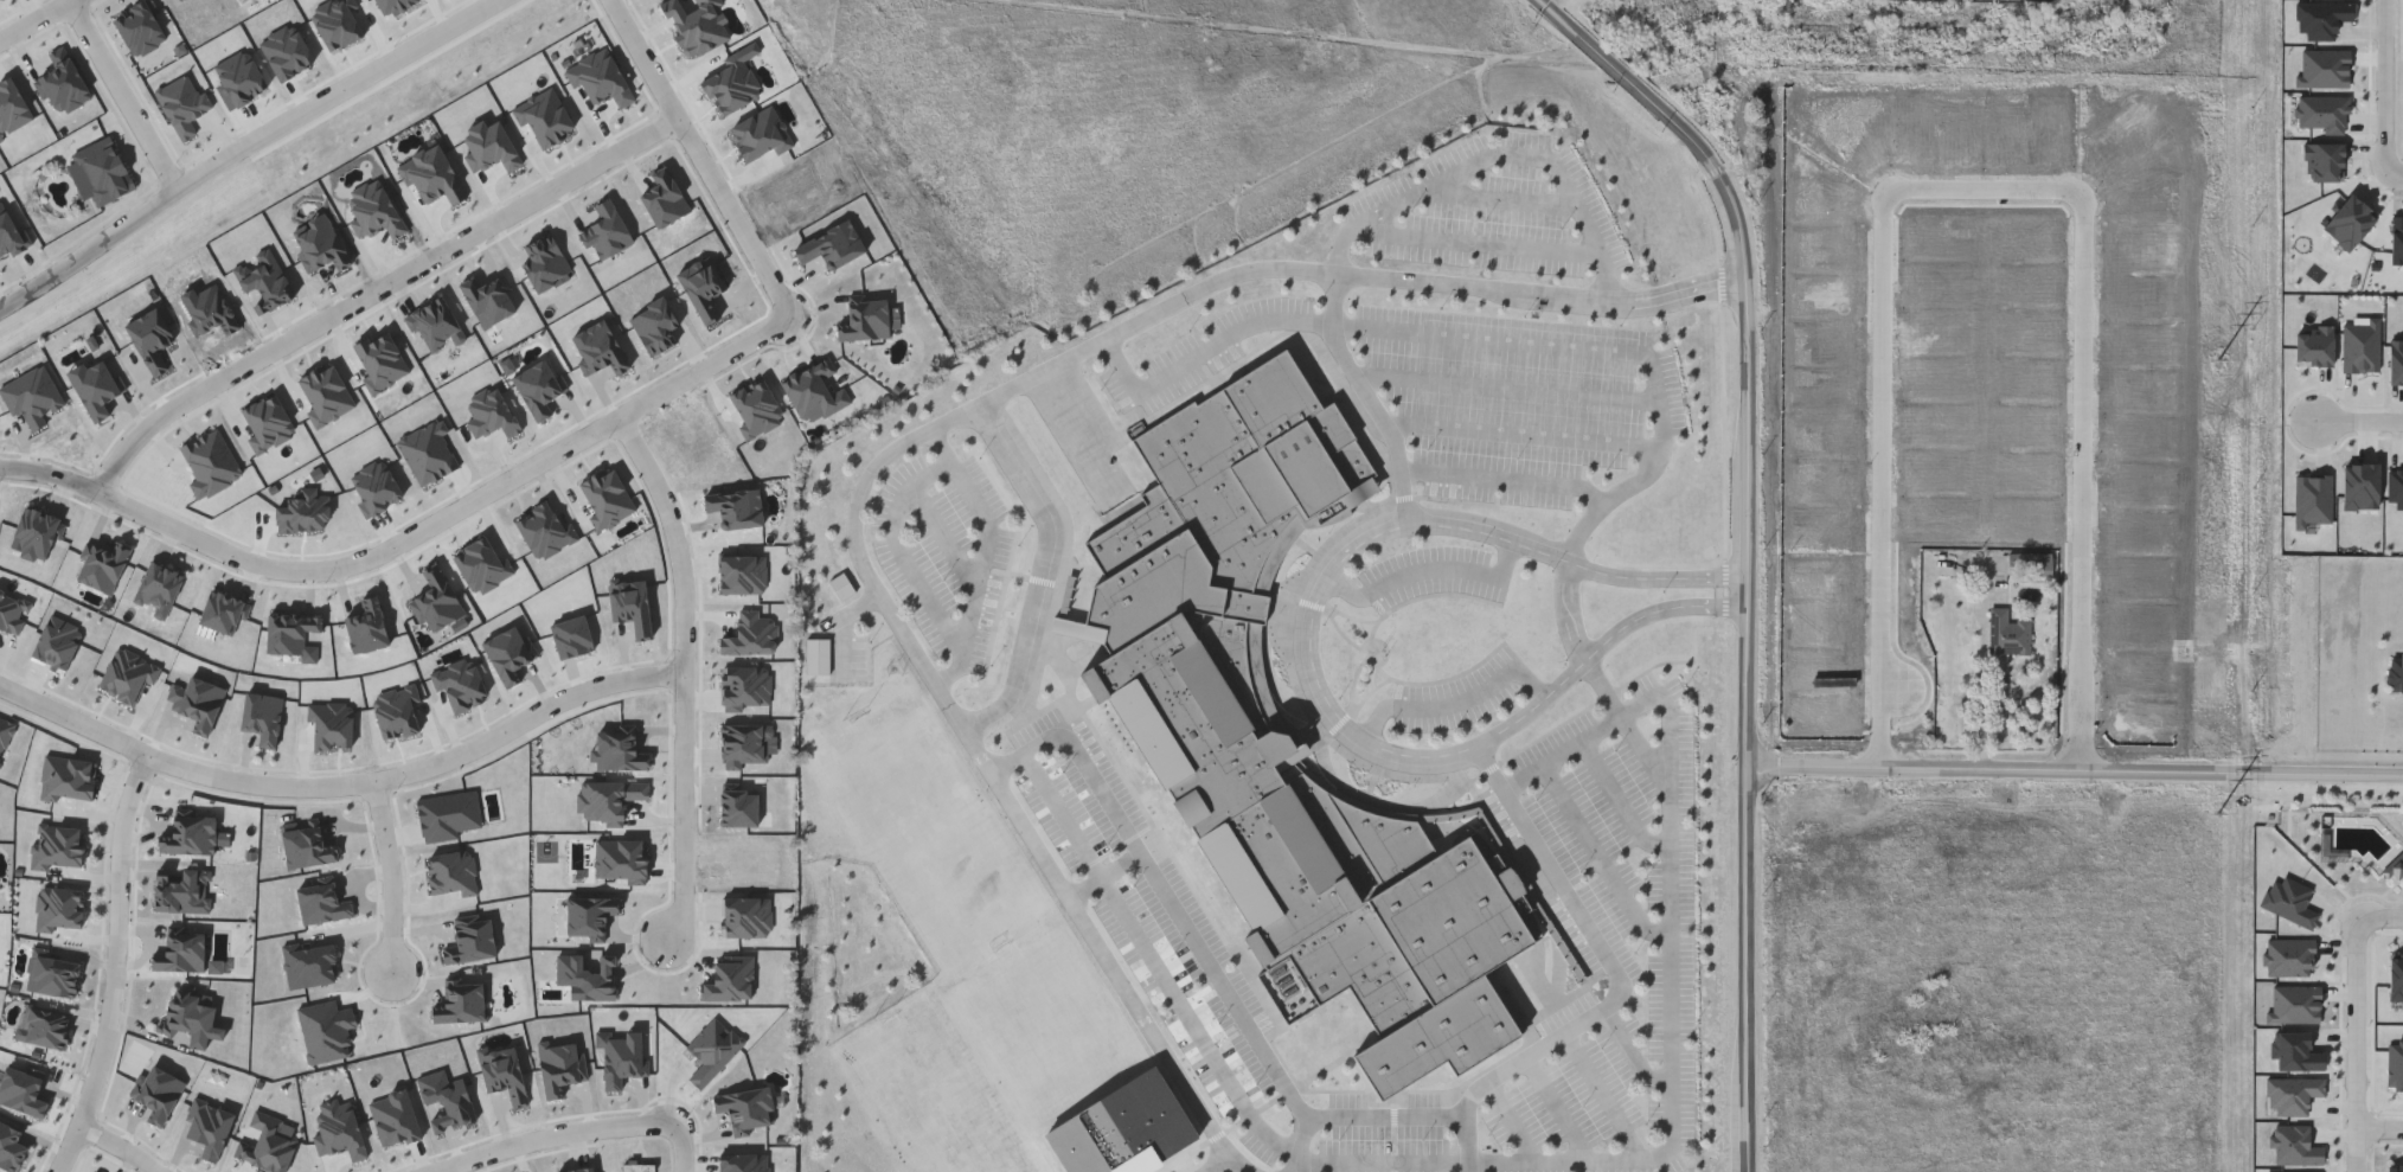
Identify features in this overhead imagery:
road: (36, 20)
road: (377, 75)
road: (2377, 89)
road: (126, 94)
road: (1500, 155)
road: (705, 156)
road: (2399, 171)
building: (2113, 173)
building: (102, 174)
road: (1975, 187)
building: (2177, 191)
road: (1499, 198)
road: (123, 229)
road: (1481, 246)
building: (2144, 264)
road: (377, 288)
road: (1775, 318)
road: (1207, 350)
road: (1751, 353)
power tower: (2218, 358)
road: (1654, 372)
road: (1507, 388)
road: (1371, 397)
road: (2359, 414)
road: (1527, 438)
road: (917, 441)
road: (1506, 480)
road: (2084, 492)
building: (1691, 493)
building: (1707, 493)
road: (1882, 497)
road: (412, 536)
road: (946, 542)
road: (906, 555)
road: (987, 556)
road: (1425, 572)
road: (1046, 575)
building: (2007, 632)
road: (1313, 661)
building: (2396, 670)
road: (684, 674)
road: (1455, 699)
building: (1192, 712)
road: (1985, 723)
road: (1672, 725)
road: (1563, 755)
road: (342, 787)
road: (2075, 792)
road: (1621, 803)
power tower: (2216, 816)
road: (1602, 862)
road: (1123, 869)
road: (393, 880)
road: (1088, 890)
road: (2385, 912)
road: (117, 968)
road: (1222, 976)
road: (1619, 978)
road: (1748, 980)
road: (2358, 1040)
road: (1633, 1056)
road: (1606, 1097)
road: (1558, 1109)
road: (1511, 1121)
road: (2380, 1125)
road: (559, 1134)
road: (1303, 1145)
road: (117, 1149)
road: (679, 1151)
road: (1479, 1163)
road: (1219, 1165)

